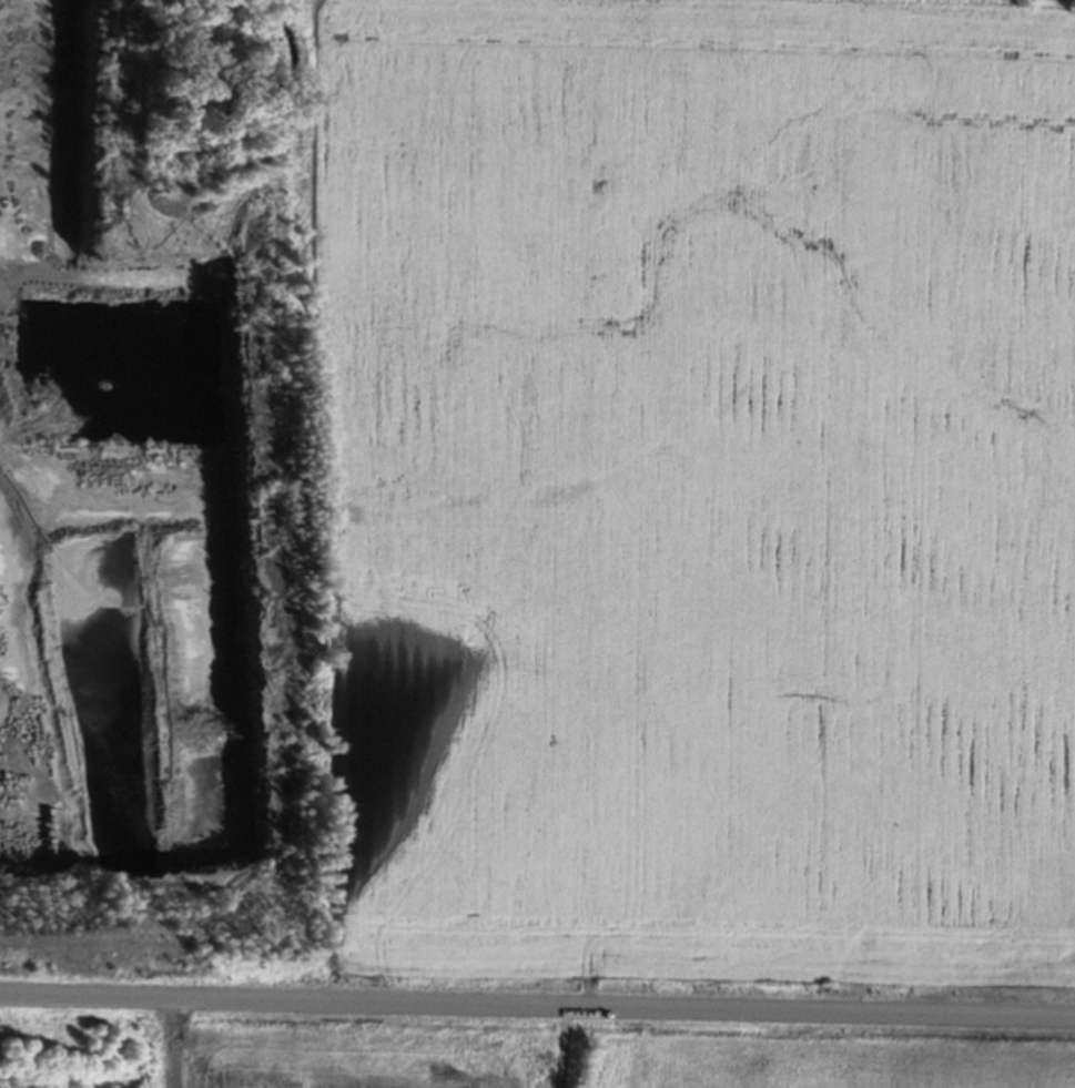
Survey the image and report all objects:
quarry: (176, 572)
road: (537, 1004)

